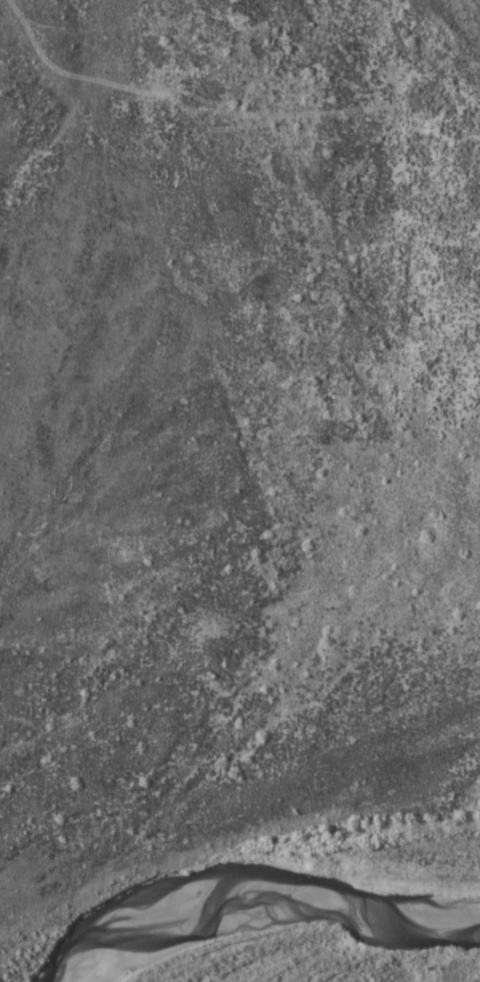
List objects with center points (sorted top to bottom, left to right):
river: (293, 915)

